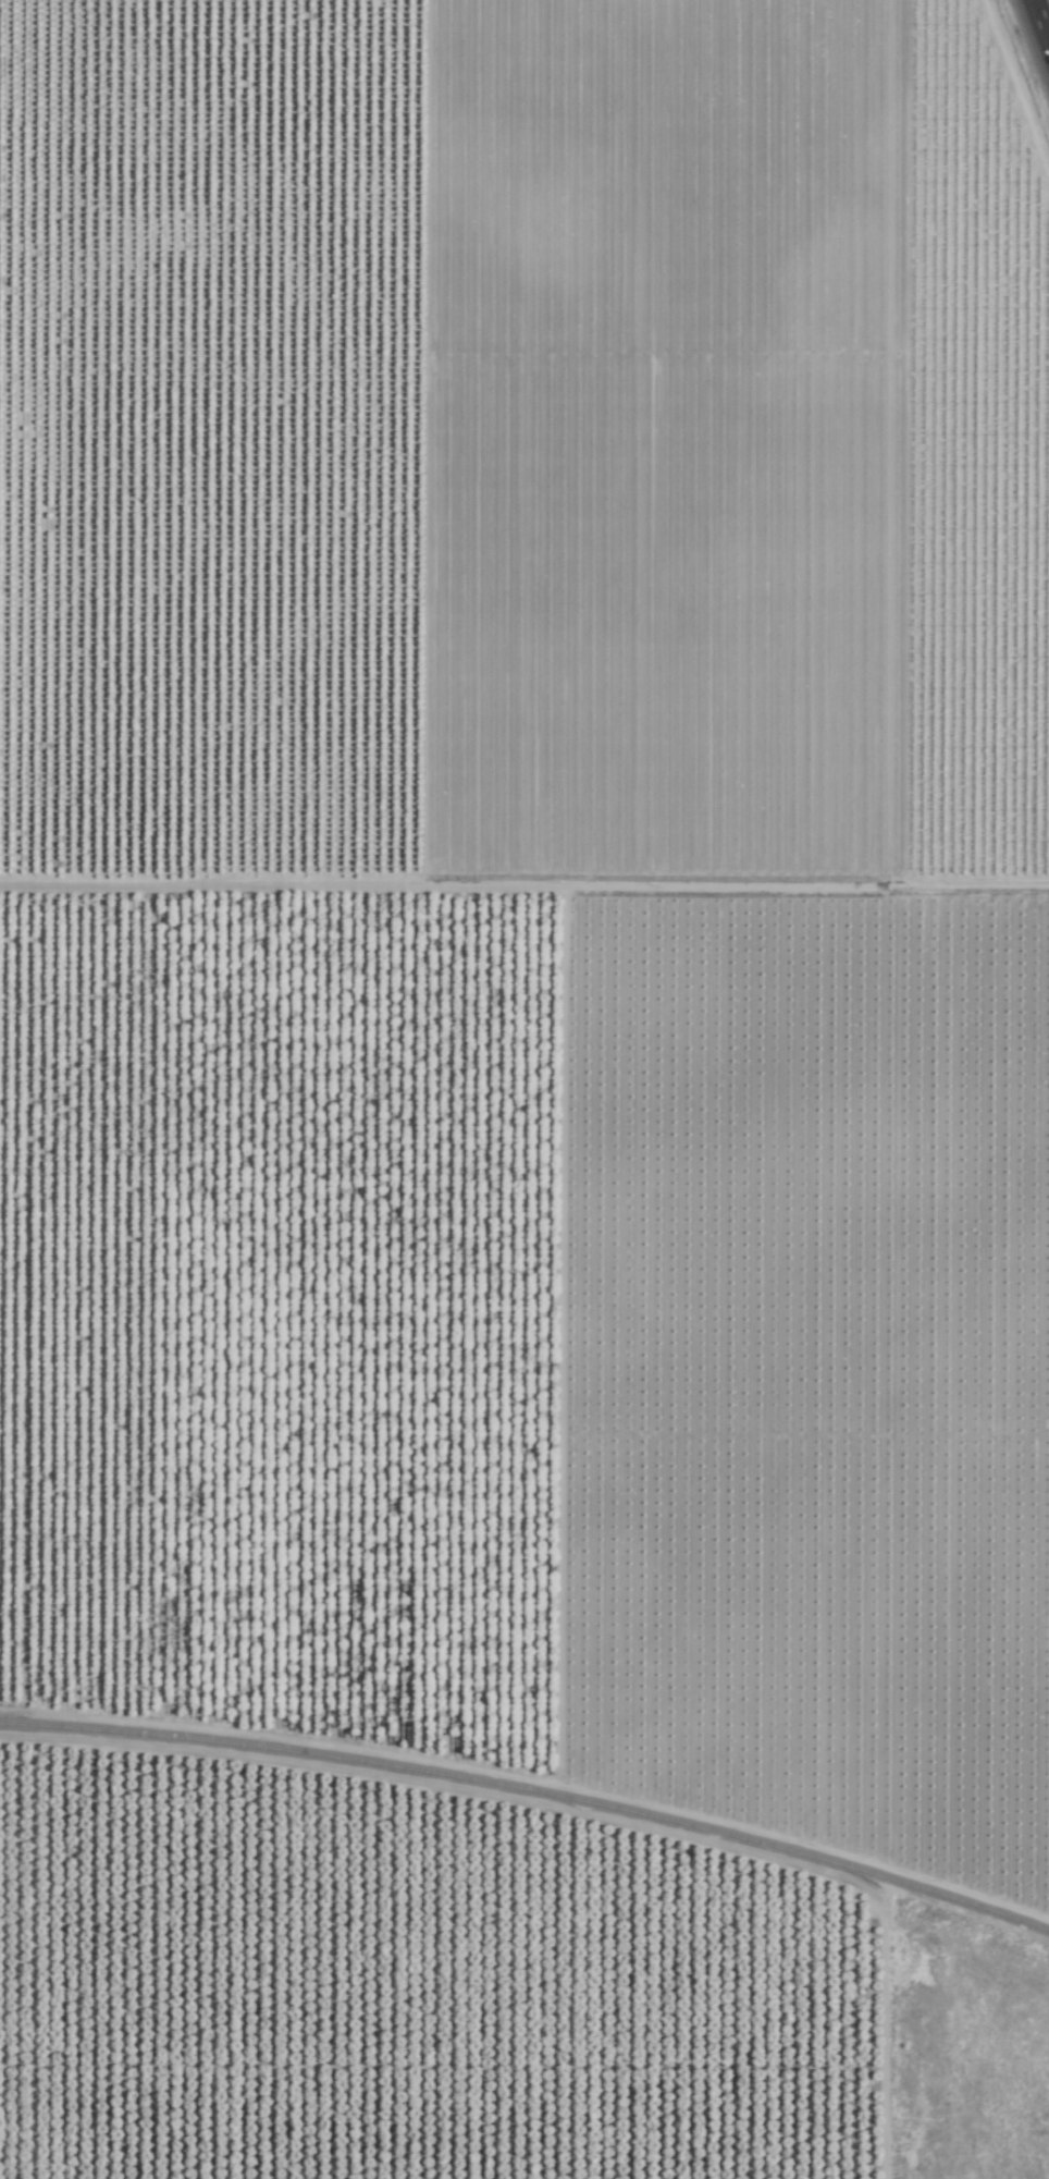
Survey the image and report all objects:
road: (1036, 32)
road: (952, 192)
road: (0, 788)
crop: (531, 896)
railway: (531, 1790)

